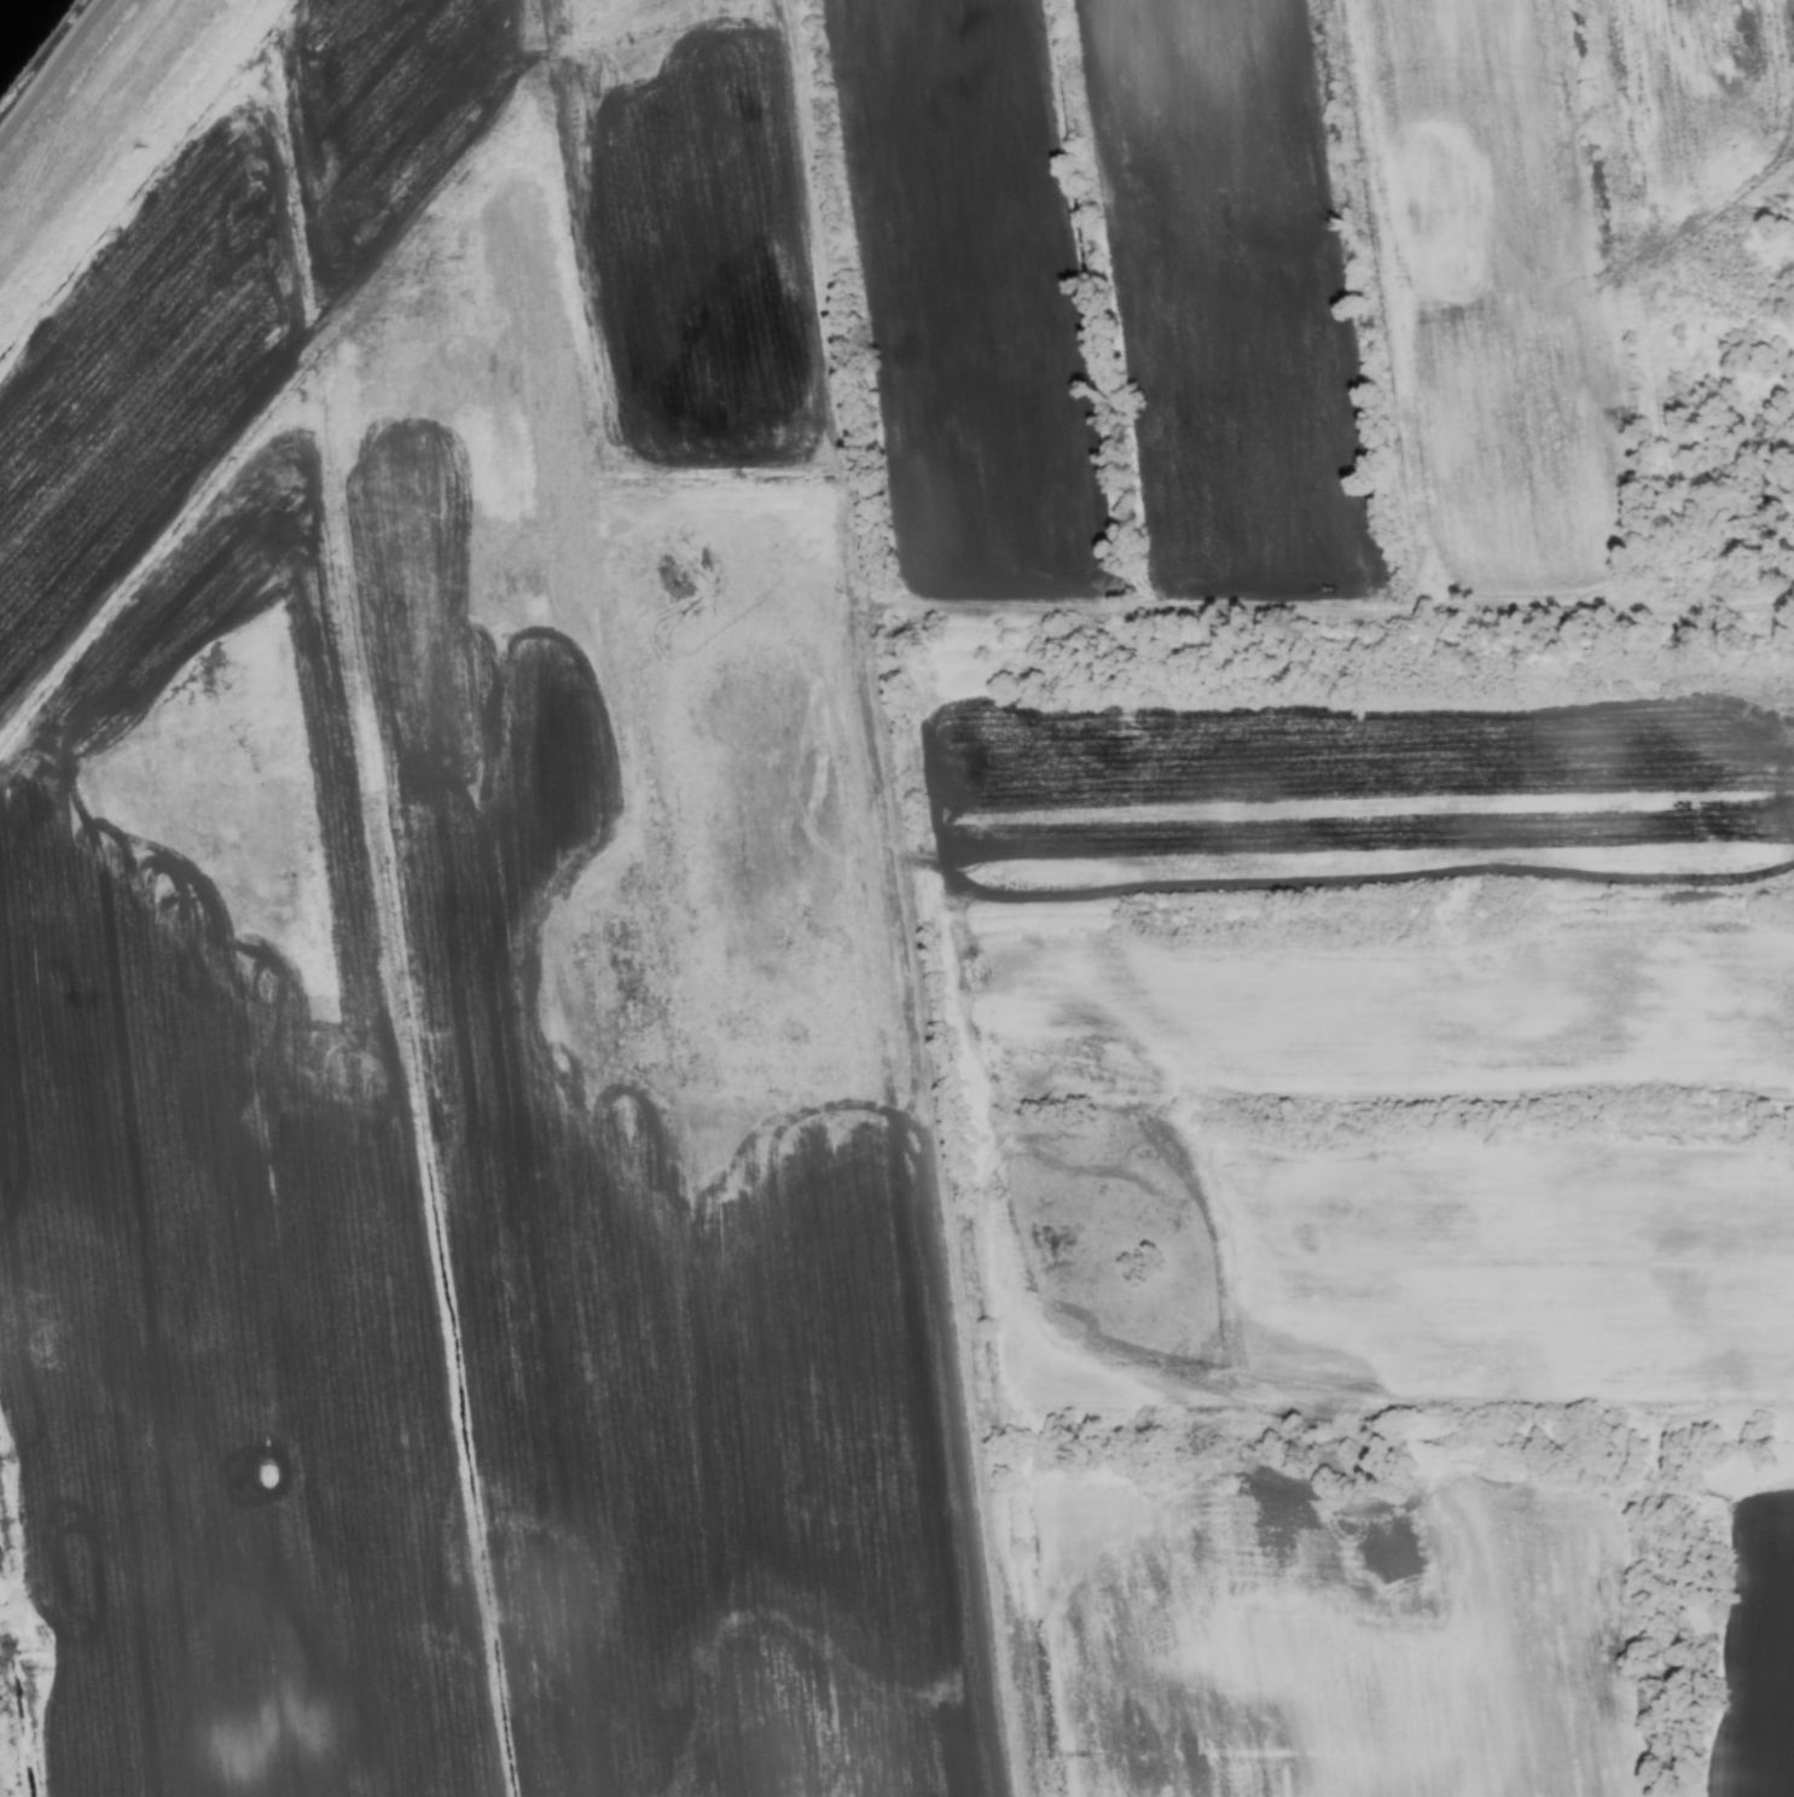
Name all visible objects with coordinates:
crop: (902, 905)

